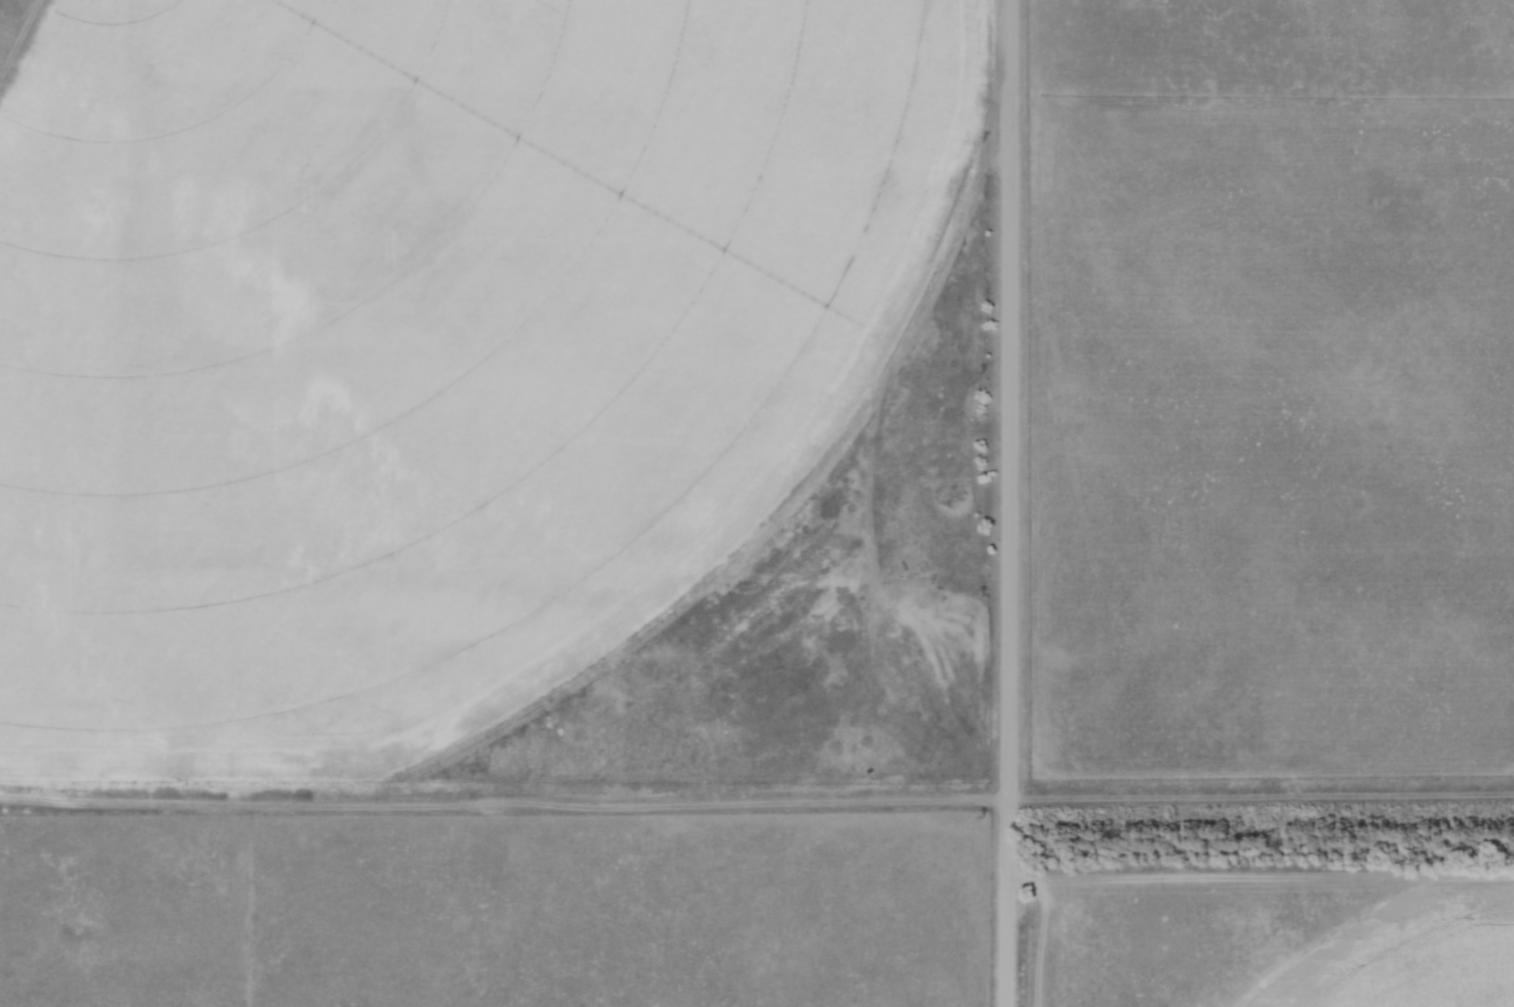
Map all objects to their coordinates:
road: (1010, 503)

